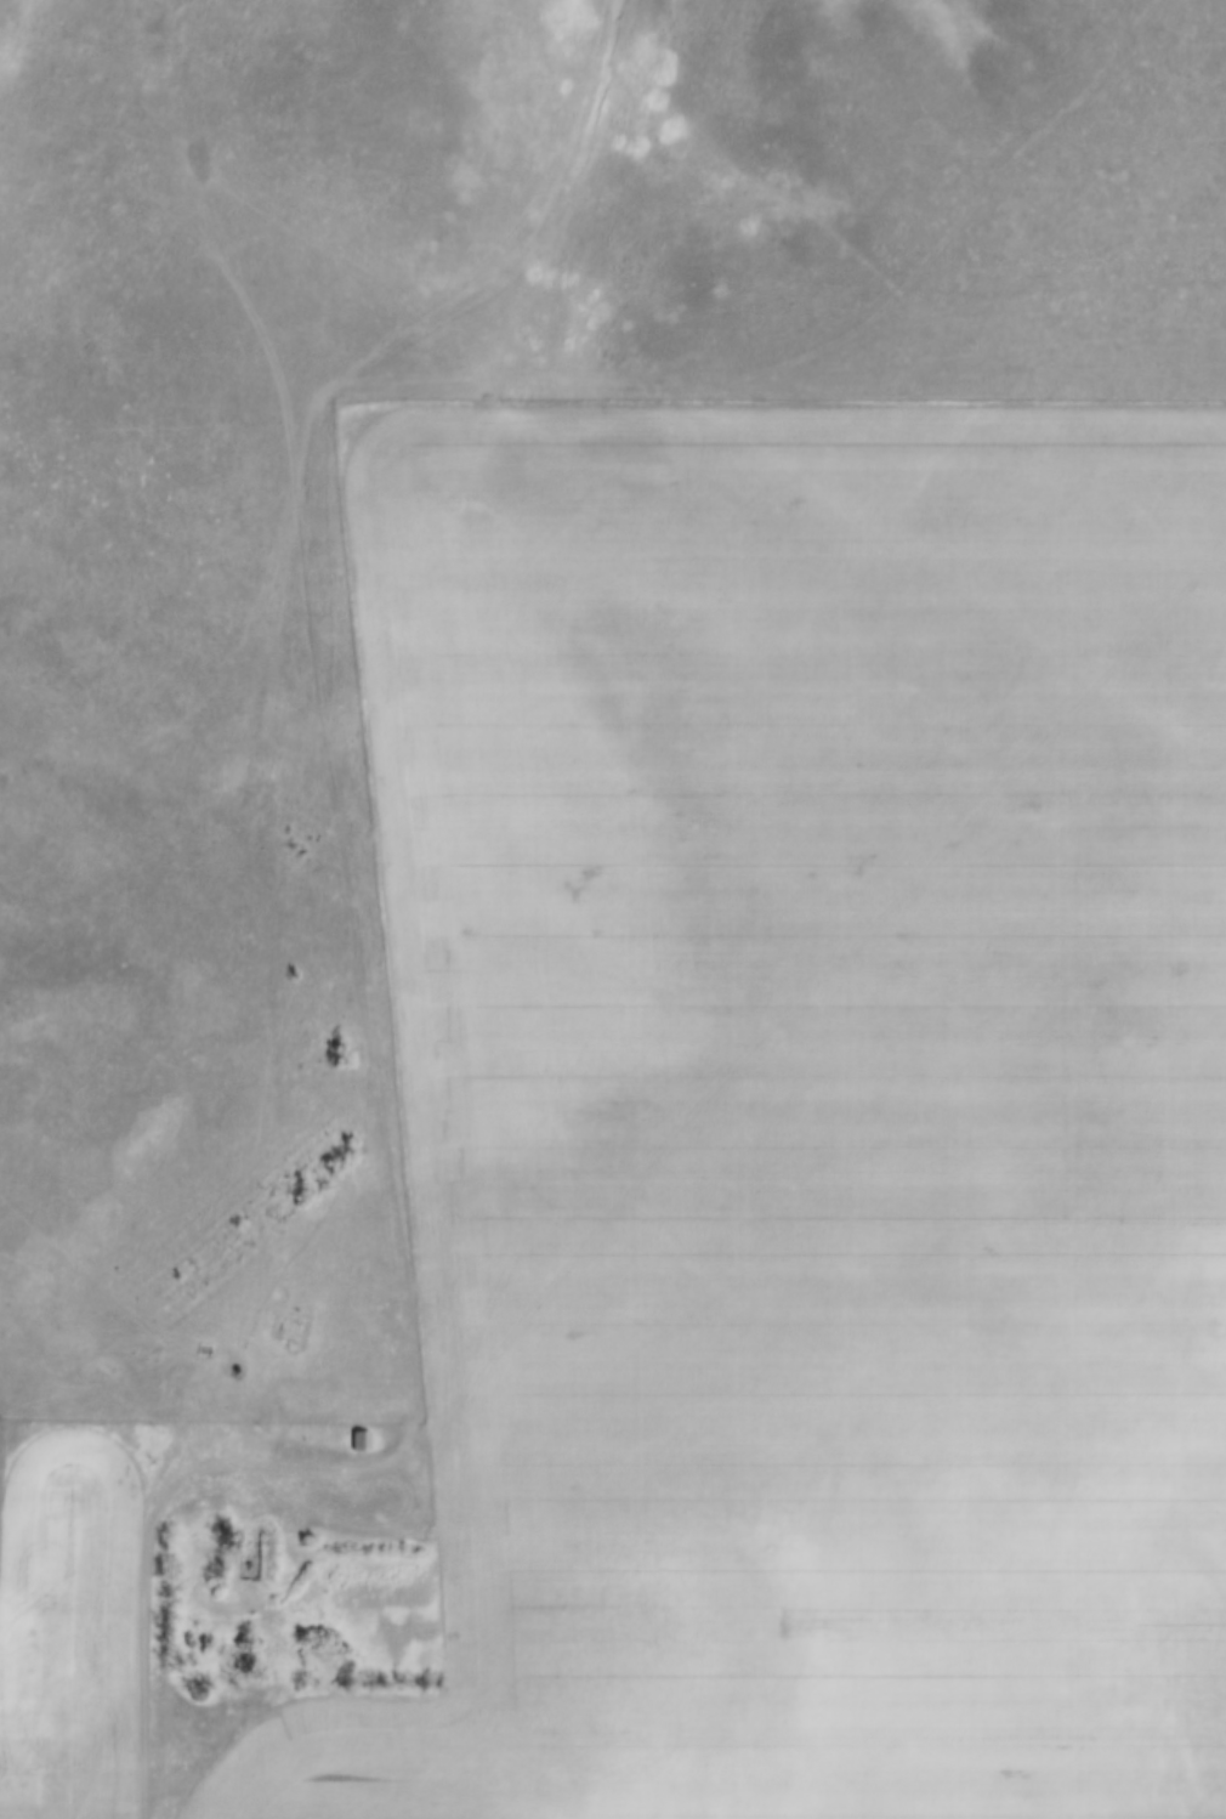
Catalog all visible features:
building: (305, 1322)
building: (370, 1434)
road: (148, 1610)

